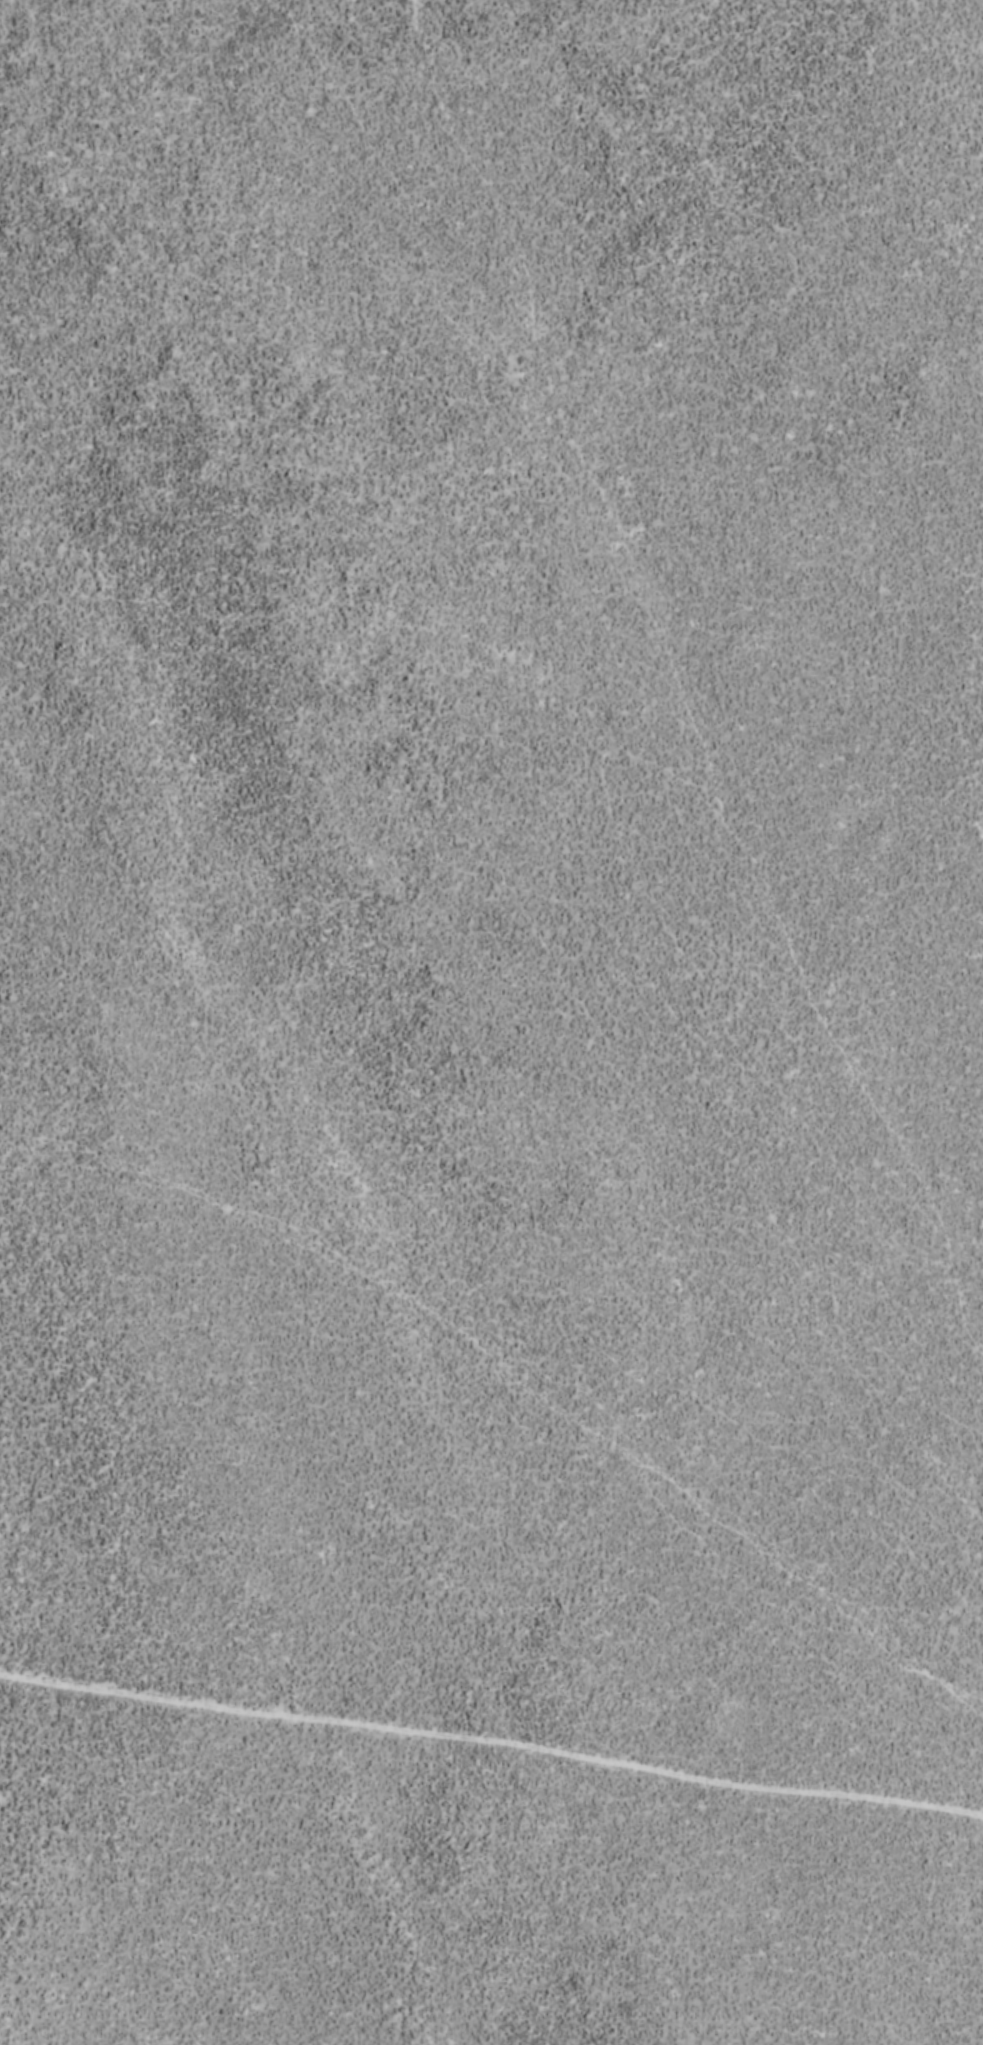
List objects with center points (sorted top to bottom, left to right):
road: (492, 1737)

